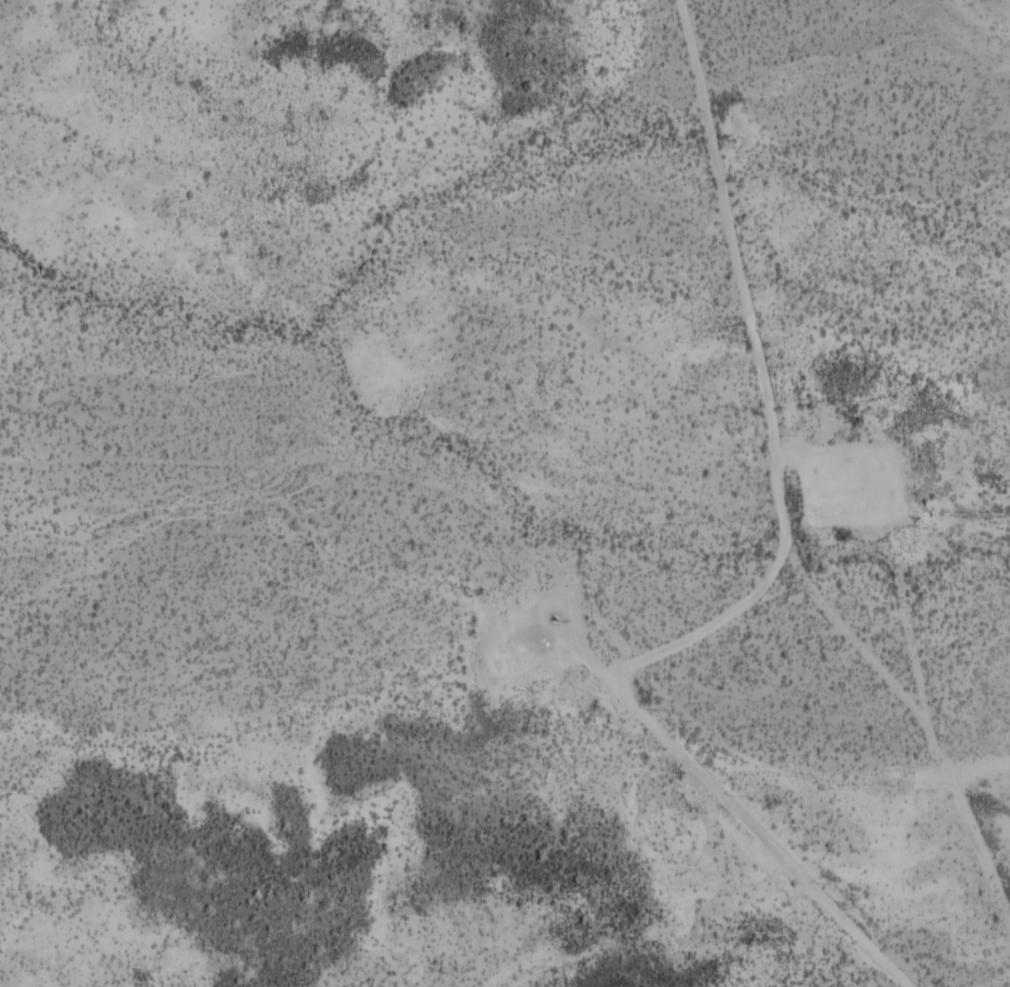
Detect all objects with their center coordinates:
building: (551, 586)
storage tank: (551, 586)

